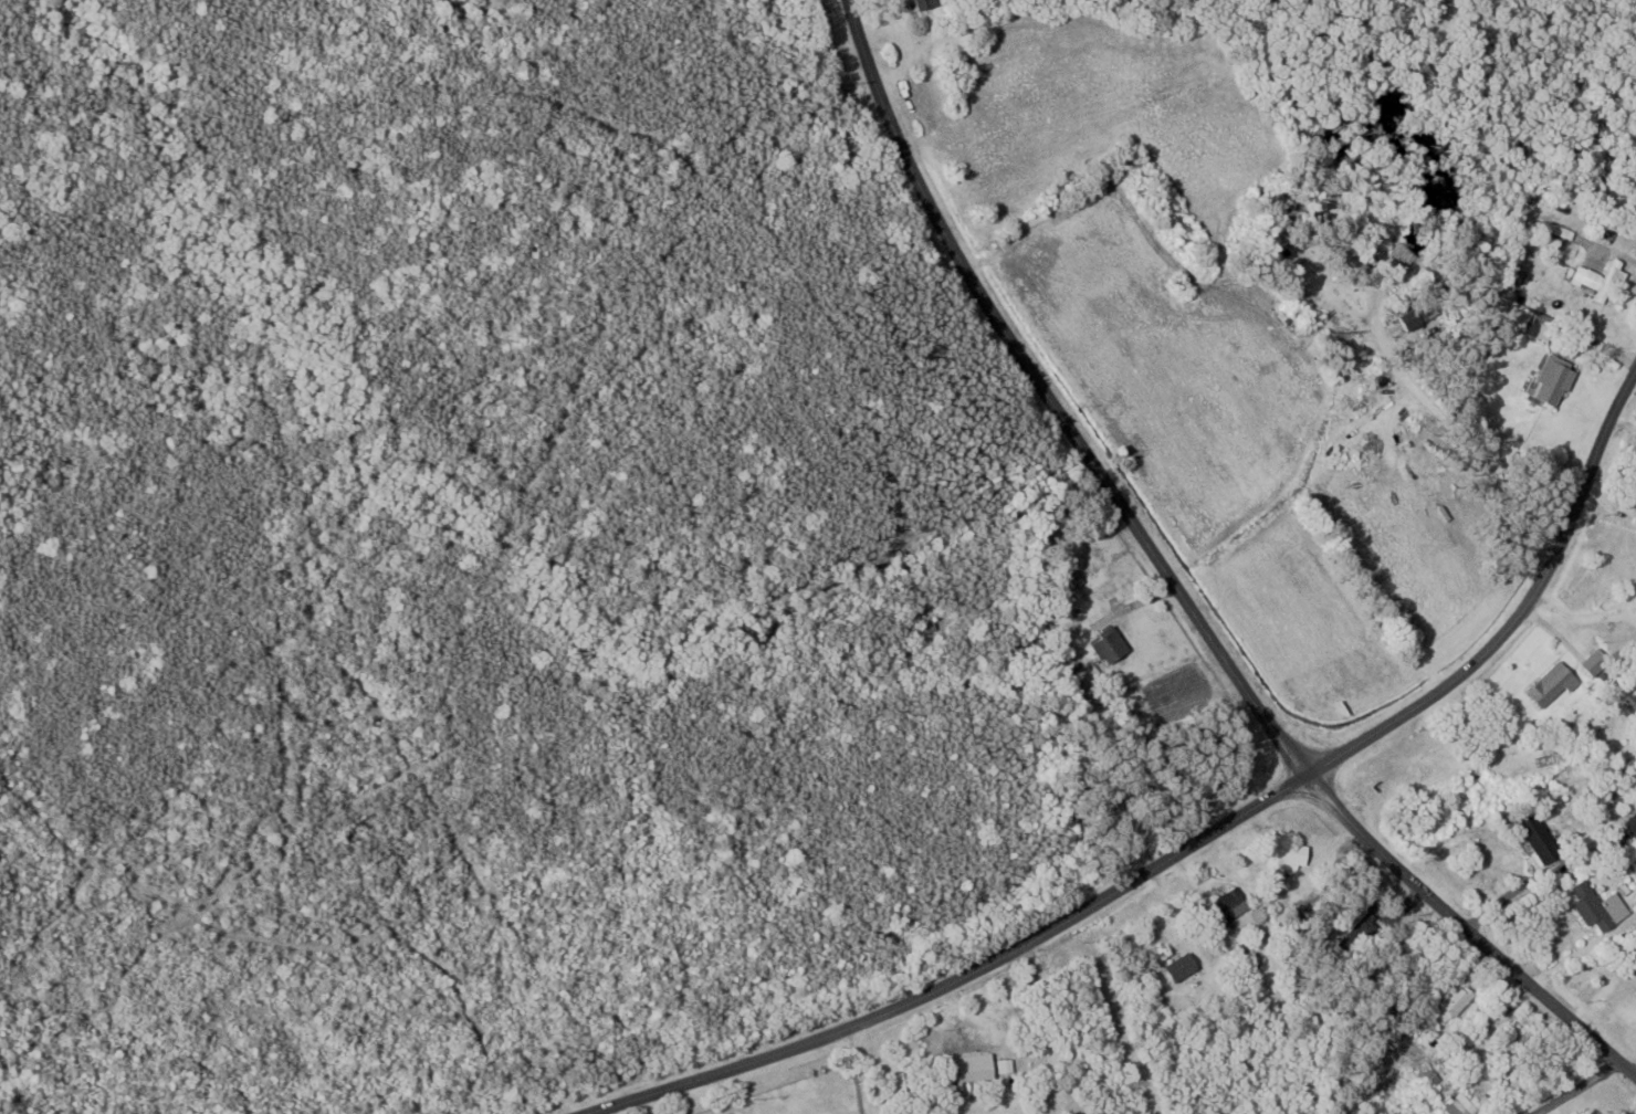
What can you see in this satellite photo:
building: (932, 3)
road: (1618, 254)
building: (1592, 277)
building: (1187, 284)
building: (1543, 378)
building: (1633, 494)
road: (1175, 587)
building: (1115, 644)
building: (1543, 683)
road: (1401, 690)
road: (1317, 770)
building: (1627, 821)
building: (1528, 835)
building: (1298, 852)
building: (1238, 902)
building: (1588, 904)
building: (1632, 907)
road: (1574, 954)
building: (1188, 965)
building: (1446, 999)
road: (1037, 1030)
building: (1014, 1064)
building: (979, 1066)
road: (723, 1072)
road: (1635, 1074)
road: (1575, 1087)
building: (1449, 1104)

